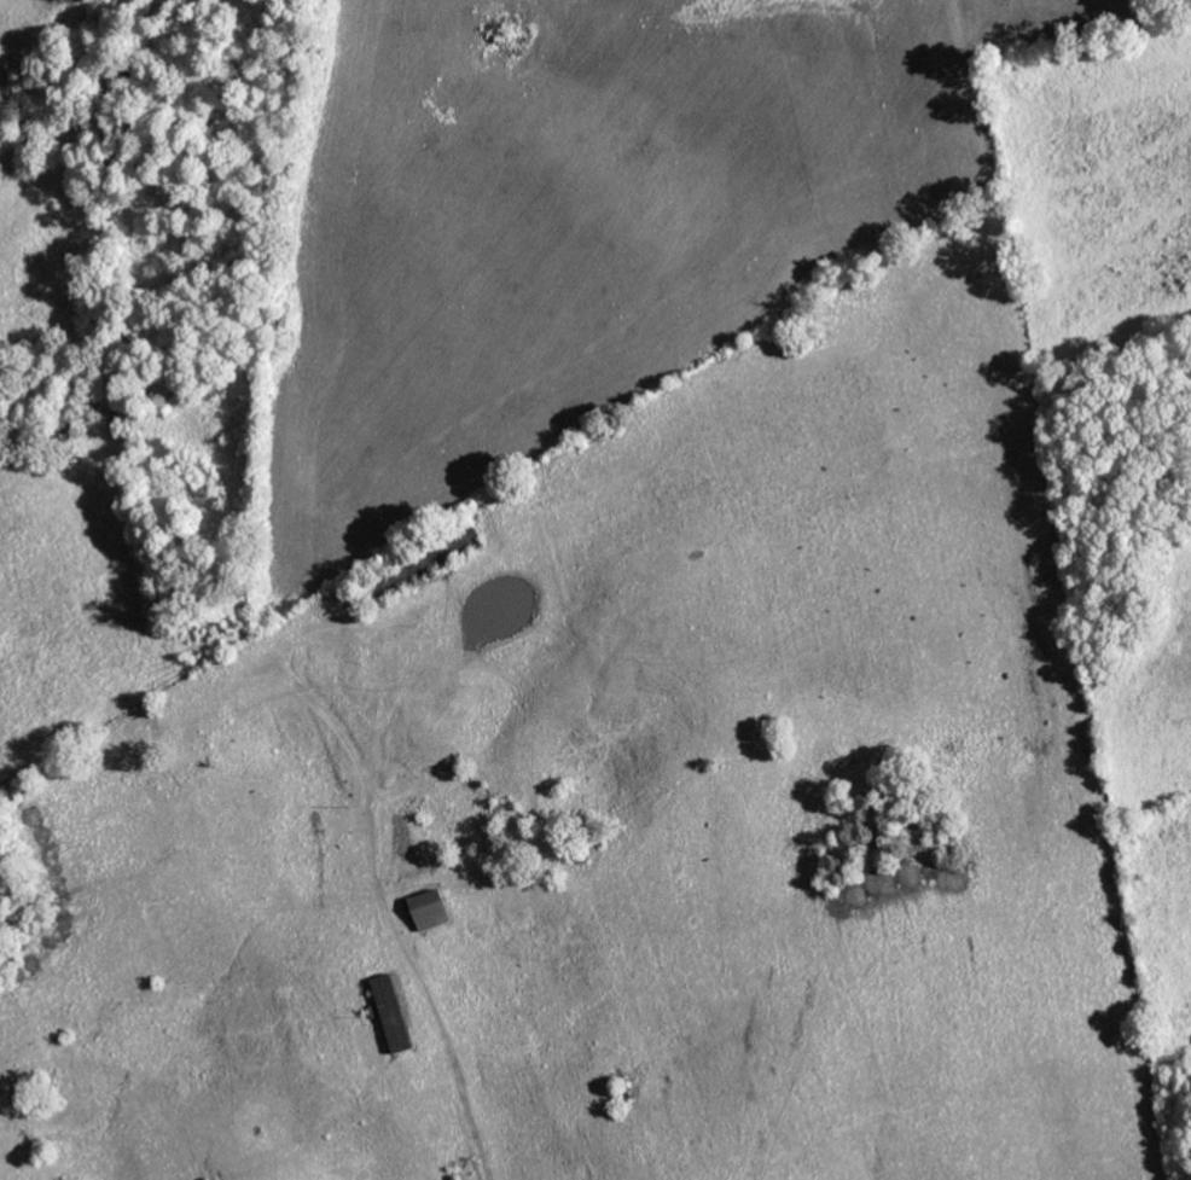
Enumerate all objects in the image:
building: (424, 909)
road: (343, 953)
building: (387, 1012)

